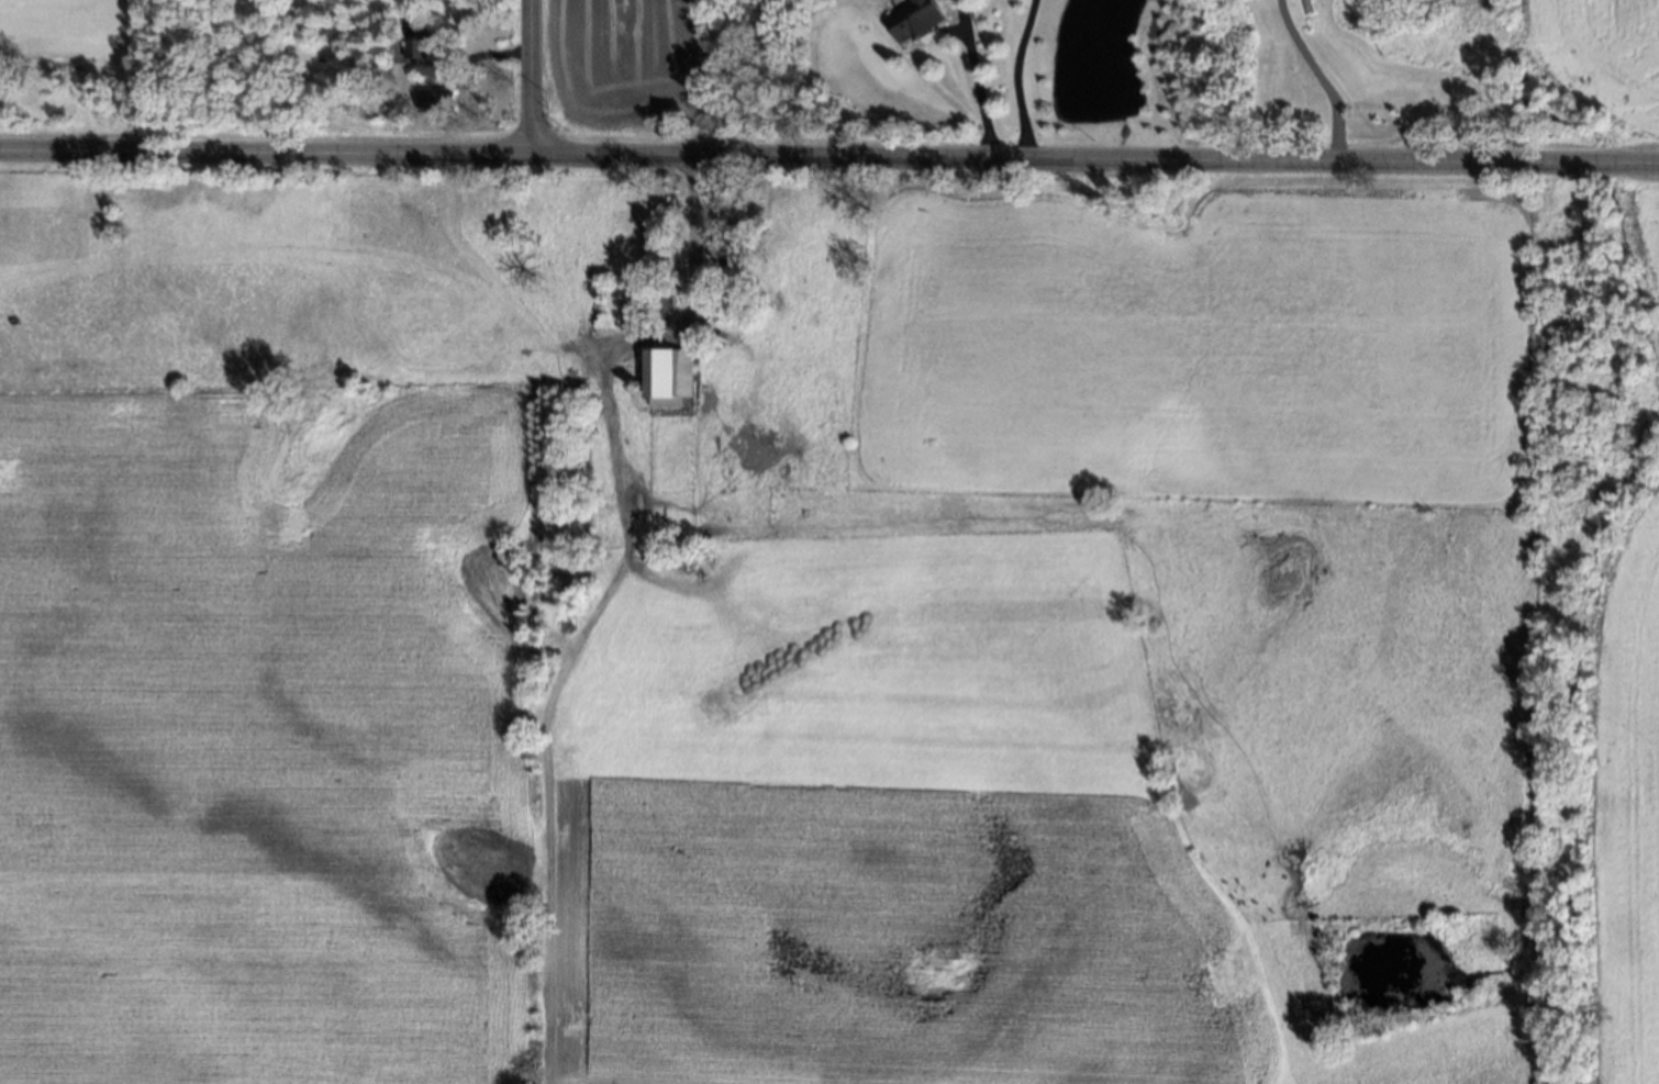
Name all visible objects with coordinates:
building: (912, 19)
building: (422, 41)
road: (528, 76)
road: (1320, 76)
road: (1011, 77)
road: (971, 78)
building: (434, 97)
road: (265, 149)
road: (1094, 157)
building: (720, 247)
road: (694, 265)
building: (661, 295)
building: (626, 300)
building: (694, 342)
building: (671, 378)
building: (635, 382)

